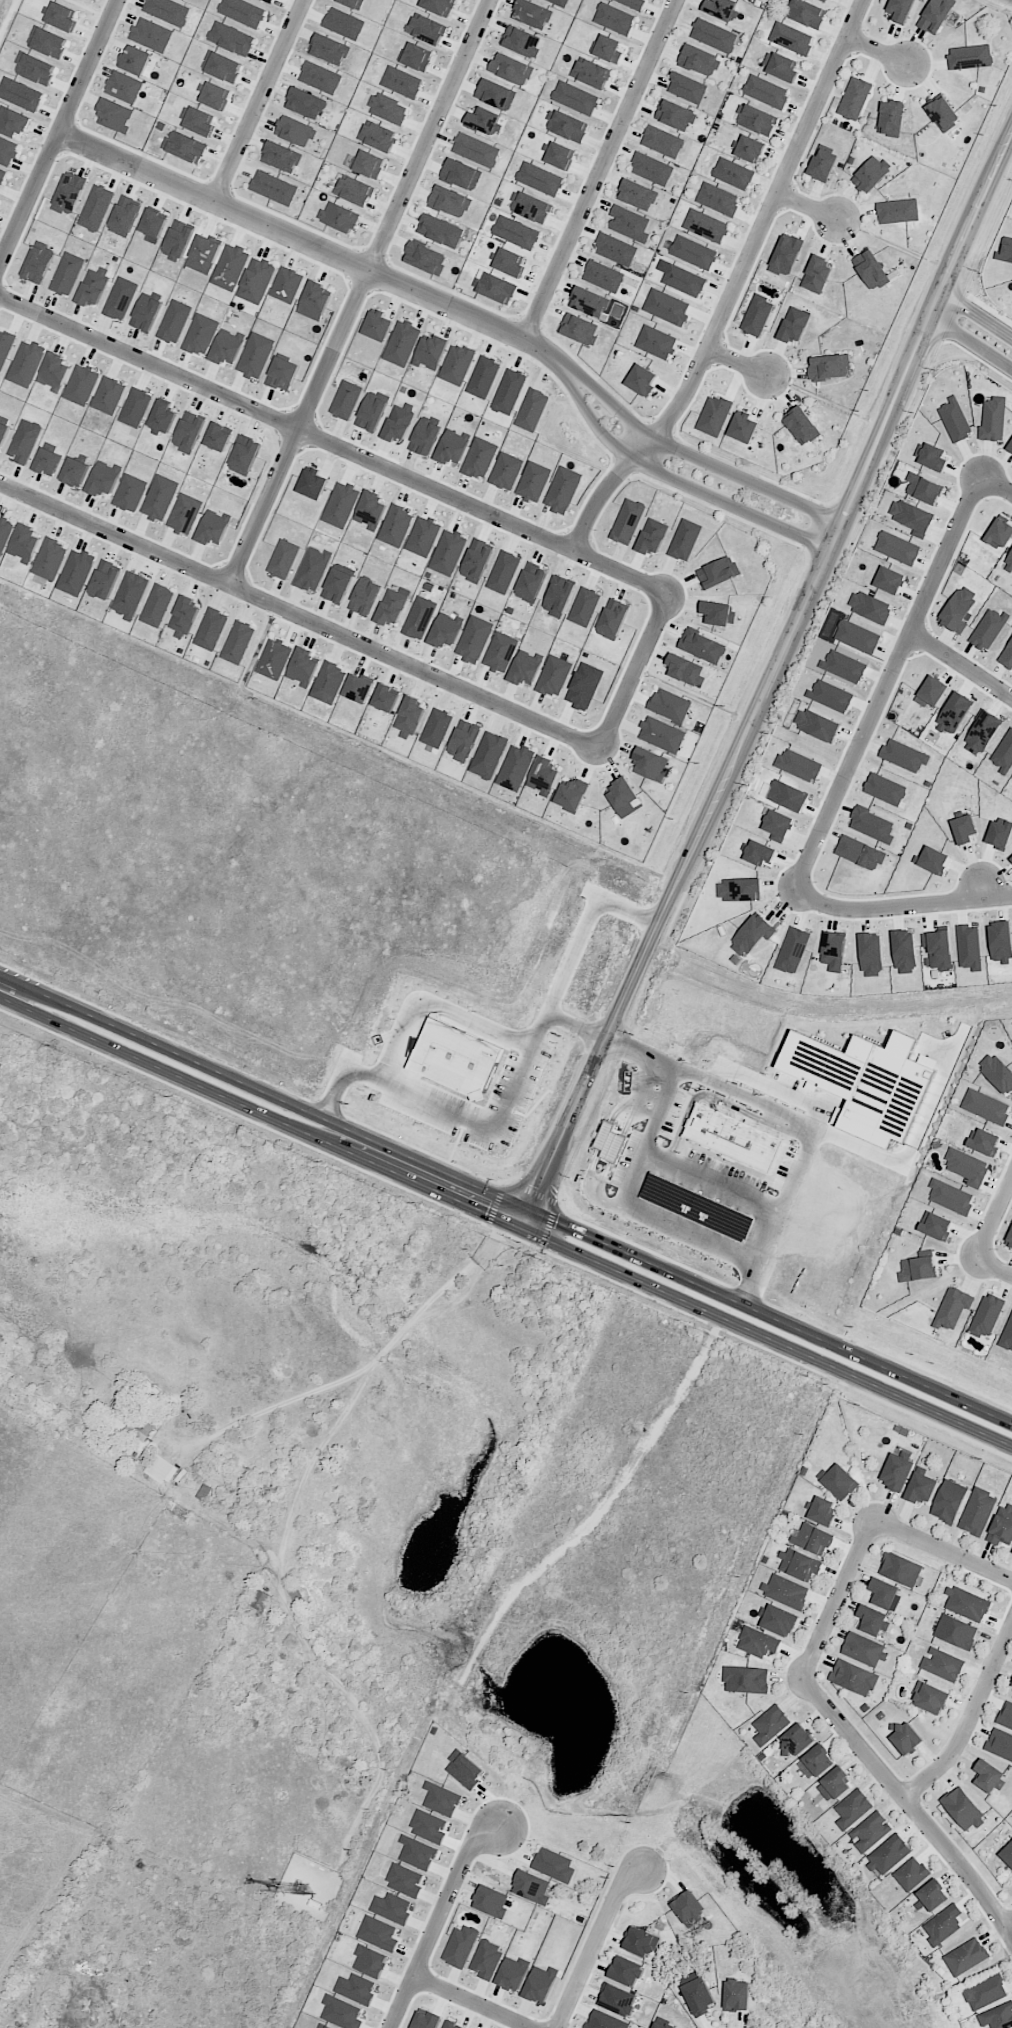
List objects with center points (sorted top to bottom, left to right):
building: (270, 0)
building: (827, 0)
building: (560, 2)
building: (352, 3)
building: (632, 3)
building: (438, 6)
building: (721, 8)
building: (167, 10)
building: (900, 10)
building: (242, 12)
building: (531, 13)
building: (806, 13)
building: (936, 15)
building: (60, 16)
building: (614, 18)
road: (9, 21)
building: (343, 23)
building: (426, 29)
building: (151, 34)
building: (714, 35)
building: (231, 38)
building: (791, 38)
building: (521, 41)
building: (47, 42)
building: (607, 48)
building: (328, 49)
road: (877, 51)
building: (416, 56)
building: (970, 57)
building: (134, 59)
building: (699, 61)
building: (221, 66)
building: (780, 66)
building: (34, 68)
building: (510, 69)
building: (591, 73)
building: (320, 77)
building: (401, 82)
building: (124, 86)
building: (686, 87)
building: (766, 91)
building: (20, 94)
building: (496, 94)
building: (214, 95)
building: (575, 98)
building: (854, 98)
road: (256, 100)
building: (305, 103)
building: (388, 108)
building: (943, 113)
building: (675, 114)
building: (114, 115)
building: (483, 118)
building: (890, 118)
building: (755, 119)
building: (198, 121)
building: (13, 122)
building: (566, 126)
building: (296, 131)
road: (59, 132)
building: (378, 136)
building: (662, 141)
building: (184, 146)
building: (476, 149)
building: (750, 149)
building: (7, 150)
building: (558, 155)
building: (281, 156)
building: (367, 164)
building: (822, 165)
building: (651, 168)
road: (600, 169)
building: (733, 173)
building: (461, 174)
building: (871, 174)
building: (2, 175)
building: (539, 178)
building: (273, 188)
building: (354, 190)
building: (70, 193)
building: (637, 194)
building: (718, 199)
building: (450, 201)
building: (530, 207)
road: (806, 207)
building: (96, 208)
building: (897, 211)
building: (124, 216)
building: (339, 217)
building: (153, 223)
building: (629, 223)
building: (706, 226)
building: (440, 230)
building: (515, 232)
building: (178, 240)
road: (317, 248)
building: (615, 249)
building: (1005, 250)
building: (693, 252)
building: (204, 254)
building: (786, 254)
building: (425, 257)
building: (507, 262)
building: (38, 263)
building: (230, 267)
building: (870, 269)
building: (67, 273)
building: (816, 274)
building: (603, 276)
building: (681, 279)
building: (256, 280)
building: (287, 285)
road: (733, 285)
building: (93, 286)
building: (492, 287)
road: (362, 292)
building: (120, 298)
building: (314, 300)
building: (588, 302)
building: (667, 307)
building: (146, 312)
building: (757, 315)
building: (174, 321)
building: (794, 325)
building: (377, 326)
road: (974, 328)
building: (578, 329)
building: (201, 334)
building: (656, 342)
building: (401, 343)
building: (227, 347)
building: (5, 348)
building: (431, 352)
building: (256, 355)
road: (736, 363)
building: (26, 364)
building: (456, 364)
building: (828, 367)
building: (54, 371)
building: (283, 373)
building: (483, 377)
building: (641, 380)
building: (81, 385)
building: (508, 392)
building: (109, 396)
building: (346, 400)
building: (135, 408)
building: (532, 410)
building: (372, 411)
building: (714, 415)
building: (163, 417)
building: (954, 419)
building: (993, 419)
building: (399, 422)
building: (801, 425)
building: (743, 427)
building: (189, 432)
building: (3, 433)
building: (425, 435)
building: (218, 437)
building: (24, 441)
road: (334, 443)
building: (452, 447)
building: (1009, 447)
building: (244, 455)
building: (931, 456)
building: (479, 458)
road: (695, 460)
building: (47, 461)
building: (506, 471)
building: (75, 472)
building: (103, 478)
building: (533, 481)
road: (995, 481)
road: (678, 482)
building: (313, 484)
building: (923, 488)
building: (563, 490)
building: (130, 493)
building: (160, 497)
building: (340, 505)
building: (370, 509)
building: (184, 514)
building: (627, 521)
building: (396, 526)
building: (213, 527)
building: (4, 533)
building: (999, 533)
building: (423, 536)
building: (652, 536)
building: (684, 539)
building: (24, 543)
building: (897, 548)
building: (448, 552)
building: (49, 559)
building: (283, 559)
building: (476, 560)
building: (1009, 563)
building: (313, 569)
building: (75, 572)
building: (503, 572)
building: (717, 572)
building: (104, 580)
building: (889, 580)
building: (531, 583)
building: (337, 585)
building: (130, 595)
building: (365, 596)
building: (558, 596)
building: (157, 605)
building: (392, 606)
building: (584, 606)
building: (870, 607)
building: (958, 609)
building: (718, 613)
road: (300, 615)
building: (184, 617)
building: (419, 618)
building: (612, 619)
building: (211, 629)
building: (988, 629)
building: (445, 630)
building: (857, 637)
building: (474, 639)
building: (238, 642)
building: (702, 646)
building: (500, 652)
building: (1007, 655)
building: (274, 659)
road: (959, 664)
building: (843, 666)
building: (303, 667)
building: (525, 668)
road: (634, 669)
building: (685, 670)
building: (554, 676)
road: (766, 678)
road: (883, 680)
building: (328, 683)
building: (584, 686)
building: (358, 687)
building: (931, 691)
building: (830, 696)
building: (385, 698)
building: (669, 705)
building: (954, 713)
building: (409, 717)
building: (816, 724)
building: (437, 728)
building: (981, 733)
building: (661, 734)
building: (463, 740)
building: (1003, 753)
building: (489, 755)
building: (903, 755)
building: (651, 764)
building: (798, 765)
building: (516, 767)
building: (543, 776)
building: (885, 789)
building: (572, 795)
building: (787, 795)
building: (623, 797)
building: (872, 824)
building: (777, 825)
building: (963, 828)
building: (999, 834)
building: (759, 853)
building: (859, 853)
building: (1011, 859)
building: (932, 860)
building: (738, 889)
road: (898, 910)
building: (752, 935)
road: (587, 937)
building: (1000, 941)
building: (969, 947)
building: (938, 949)
building: (793, 950)
building: (833, 951)
building: (904, 952)
building: (871, 955)
road: (441, 1009)
building: (997, 1073)
building: (863, 1082)
building: (986, 1106)
road: (774, 1108)
road: (478, 1126)
building: (733, 1138)
building: (983, 1141)
building: (609, 1142)
building: (967, 1166)
road: (712, 1182)
building: (950, 1197)
road: (625, 1202)
building: (698, 1208)
gas station: (698, 1208)
road: (504, 1213)
road: (993, 1216)
traffic signals: (525, 1223)
building: (935, 1225)
building: (1010, 1237)
road: (993, 1266)
building: (916, 1268)
road: (752, 1288)
building: (952, 1307)
building: (986, 1315)
building: (1007, 1334)
road: (282, 1402)
building: (133, 1421)
building: (159, 1468)
building: (895, 1469)
building: (838, 1482)
building: (922, 1489)
building: (949, 1501)
road: (293, 1507)
building: (820, 1511)
building: (977, 1513)
road: (596, 1515)
building: (1000, 1527)
building: (811, 1540)
road: (943, 1553)
building: (799, 1564)
building: (899, 1570)
building: (786, 1591)
building: (883, 1593)
building: (259, 1599)
road: (839, 1601)
building: (965, 1604)
building: (869, 1619)
building: (778, 1620)
building: (955, 1633)
building: (756, 1644)
building: (862, 1649)
building: (944, 1665)
building: (853, 1678)
building: (748, 1680)
building: (1011, 1683)
building: (1011, 1685)
building: (928, 1699)
building: (1006, 1716)
road: (969, 1719)
building: (770, 1725)
building: (904, 1739)
building: (795, 1740)
building: (1000, 1745)
building: (816, 1762)
building: (464, 1769)
building: (987, 1776)
building: (835, 1783)
building: (441, 1799)
road: (911, 1807)
building: (854, 1809)
building: (960, 1809)
building: (429, 1826)
building: (870, 1832)
building: (1007, 1851)
building: (417, 1853)
building: (891, 1854)
building: (554, 1865)
building: (911, 1874)
building: (405, 1880)
building: (531, 1887)
building: (933, 1896)
building: (491, 1901)
building: (683, 1903)
building: (392, 1908)
road: (442, 1918)
building: (944, 1926)
road: (1009, 1928)
building: (378, 1933)
road: (591, 1941)
building: (637, 1942)
building: (460, 1946)
building: (966, 1957)
building: (486, 1959)
building: (370, 1961)
building: (623, 1969)
building: (513, 1973)
building: (540, 1984)
building: (356, 1988)
building: (985, 1992)
building: (695, 1995)
building: (734, 1995)
building: (618, 1997)
road: (479, 2003)
building: (342, 2012)
building: (998, 2016)
building: (425, 2020)
building: (603, 2020)
building: (452, 2025)
building: (658, 2025)
building: (323, 2026)

